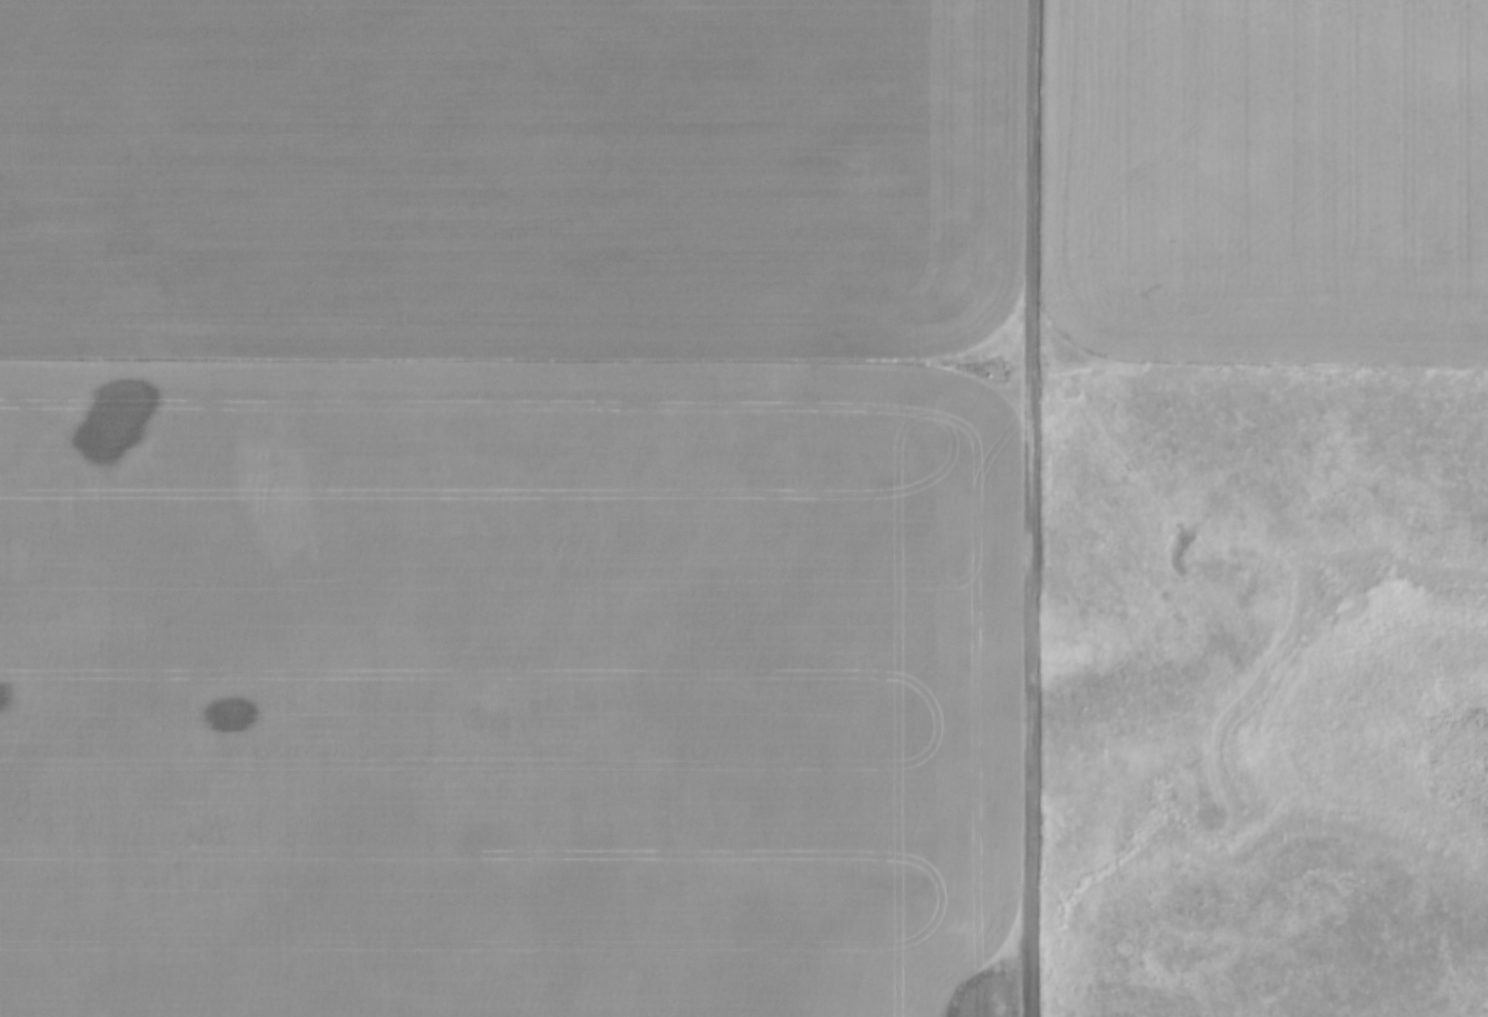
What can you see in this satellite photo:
road: (1032, 508)

